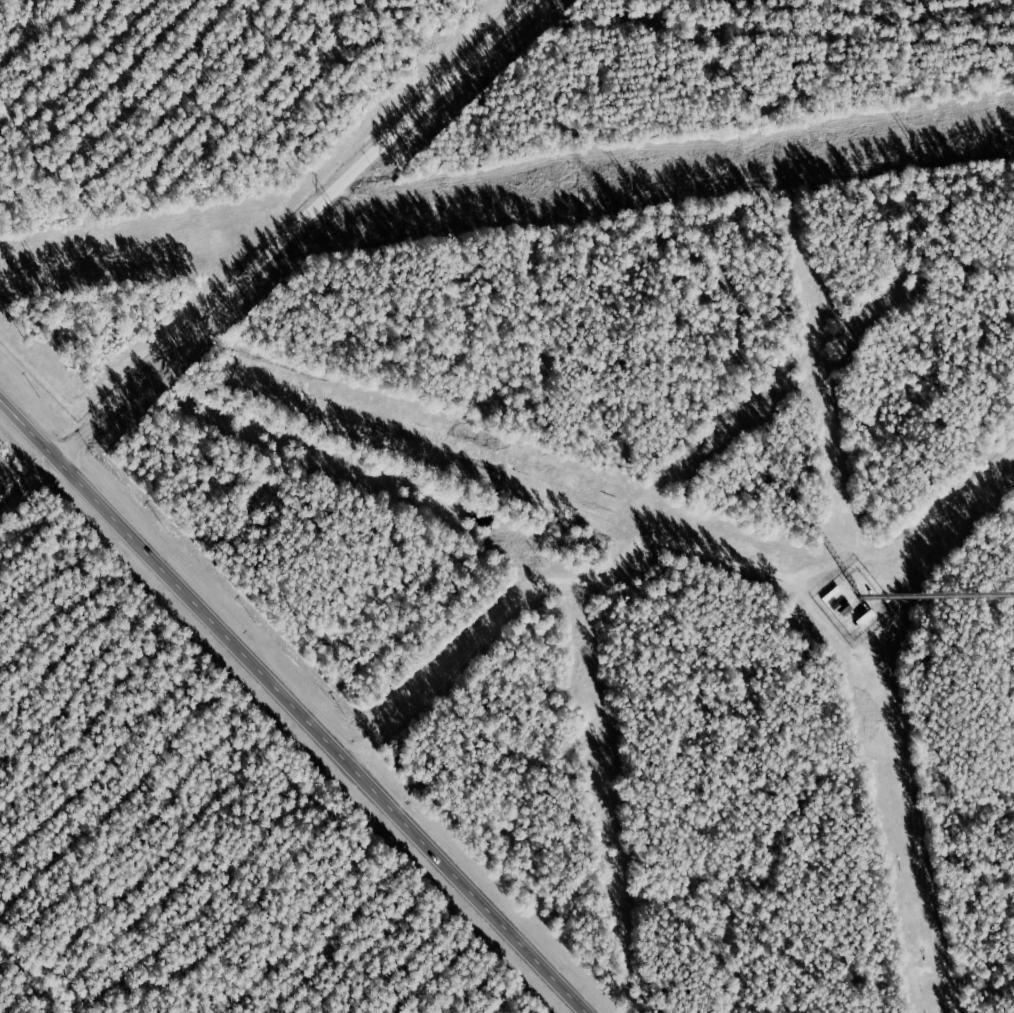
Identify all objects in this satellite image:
power tower: (911, 139)
power tower: (627, 181)
power tower: (339, 222)
road: (296, 229)
power tower: (37, 265)
road: (293, 706)

